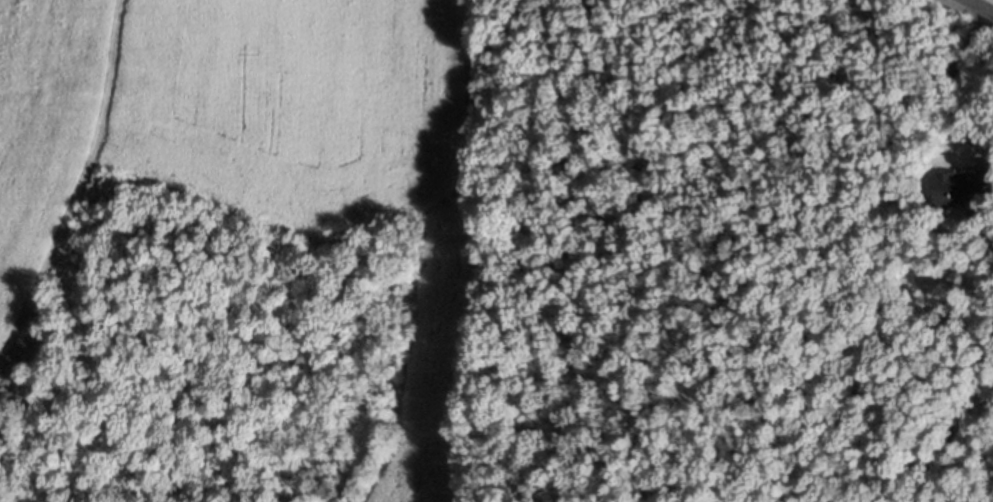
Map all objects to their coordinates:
road: (980, 6)
road: (956, 88)
building: (967, 191)

